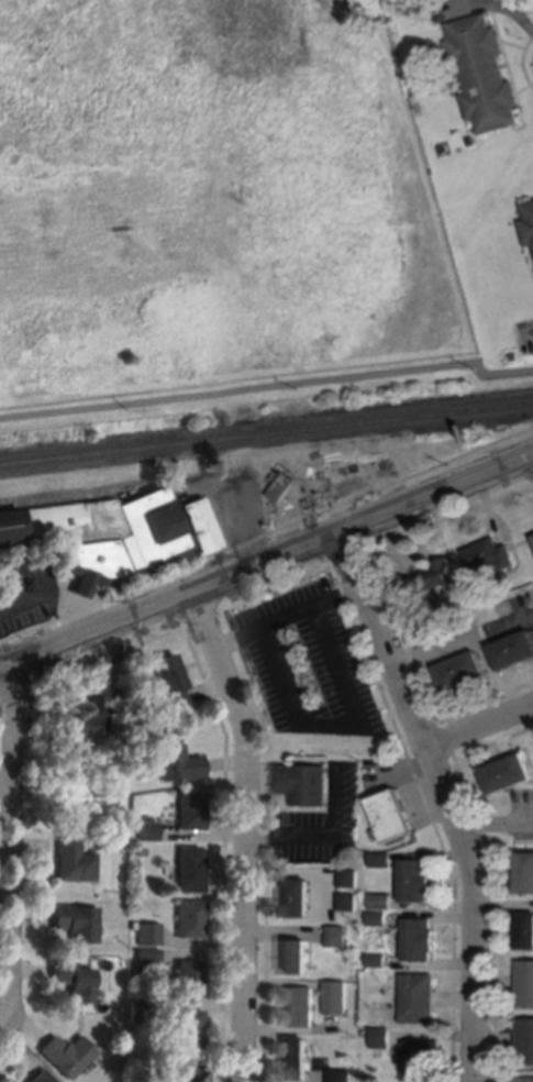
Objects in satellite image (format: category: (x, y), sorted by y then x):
building: (485, 74)
wastewater plant: (211, 198)
building: (529, 223)
building: (517, 356)
road: (269, 388)
railway: (266, 434)
building: (275, 477)
building: (285, 487)
road: (524, 487)
building: (200, 526)
building: (97, 533)
road: (266, 534)
building: (490, 555)
road: (267, 559)
building: (430, 581)
road: (44, 586)
road: (68, 607)
road: (289, 616)
building: (515, 651)
building: (465, 672)
building: (170, 682)
building: (87, 719)
road: (340, 726)
road: (481, 727)
building: (177, 763)
building: (510, 774)
road: (4, 784)
building: (304, 784)
road: (449, 797)
building: (191, 810)
building: (395, 816)
road: (498, 826)
road: (8, 827)
building: (147, 829)
road: (245, 831)
road: (285, 837)
building: (140, 852)
building: (384, 860)
building: (74, 861)
building: (190, 870)
building: (526, 873)
building: (352, 879)
building: (418, 881)
building: (300, 898)
building: (384, 902)
building: (351, 903)
building: (379, 918)
building: (190, 919)
building: (77, 921)
building: (132, 925)
building: (526, 931)
building: (147, 935)
building: (338, 936)
building: (421, 940)
building: (298, 957)
building: (147, 959)
building: (379, 960)
building: (187, 978)
building: (138, 980)
building: (74, 981)
building: (525, 984)
building: (337, 997)
building: (420, 998)
building: (300, 1007)
building: (141, 1012)
building: (188, 1028)
building: (384, 1038)
building: (525, 1041)
building: (67, 1055)
building: (297, 1059)
building: (421, 1061)
building: (178, 1071)
building: (342, 1075)
building: (40, 1078)

